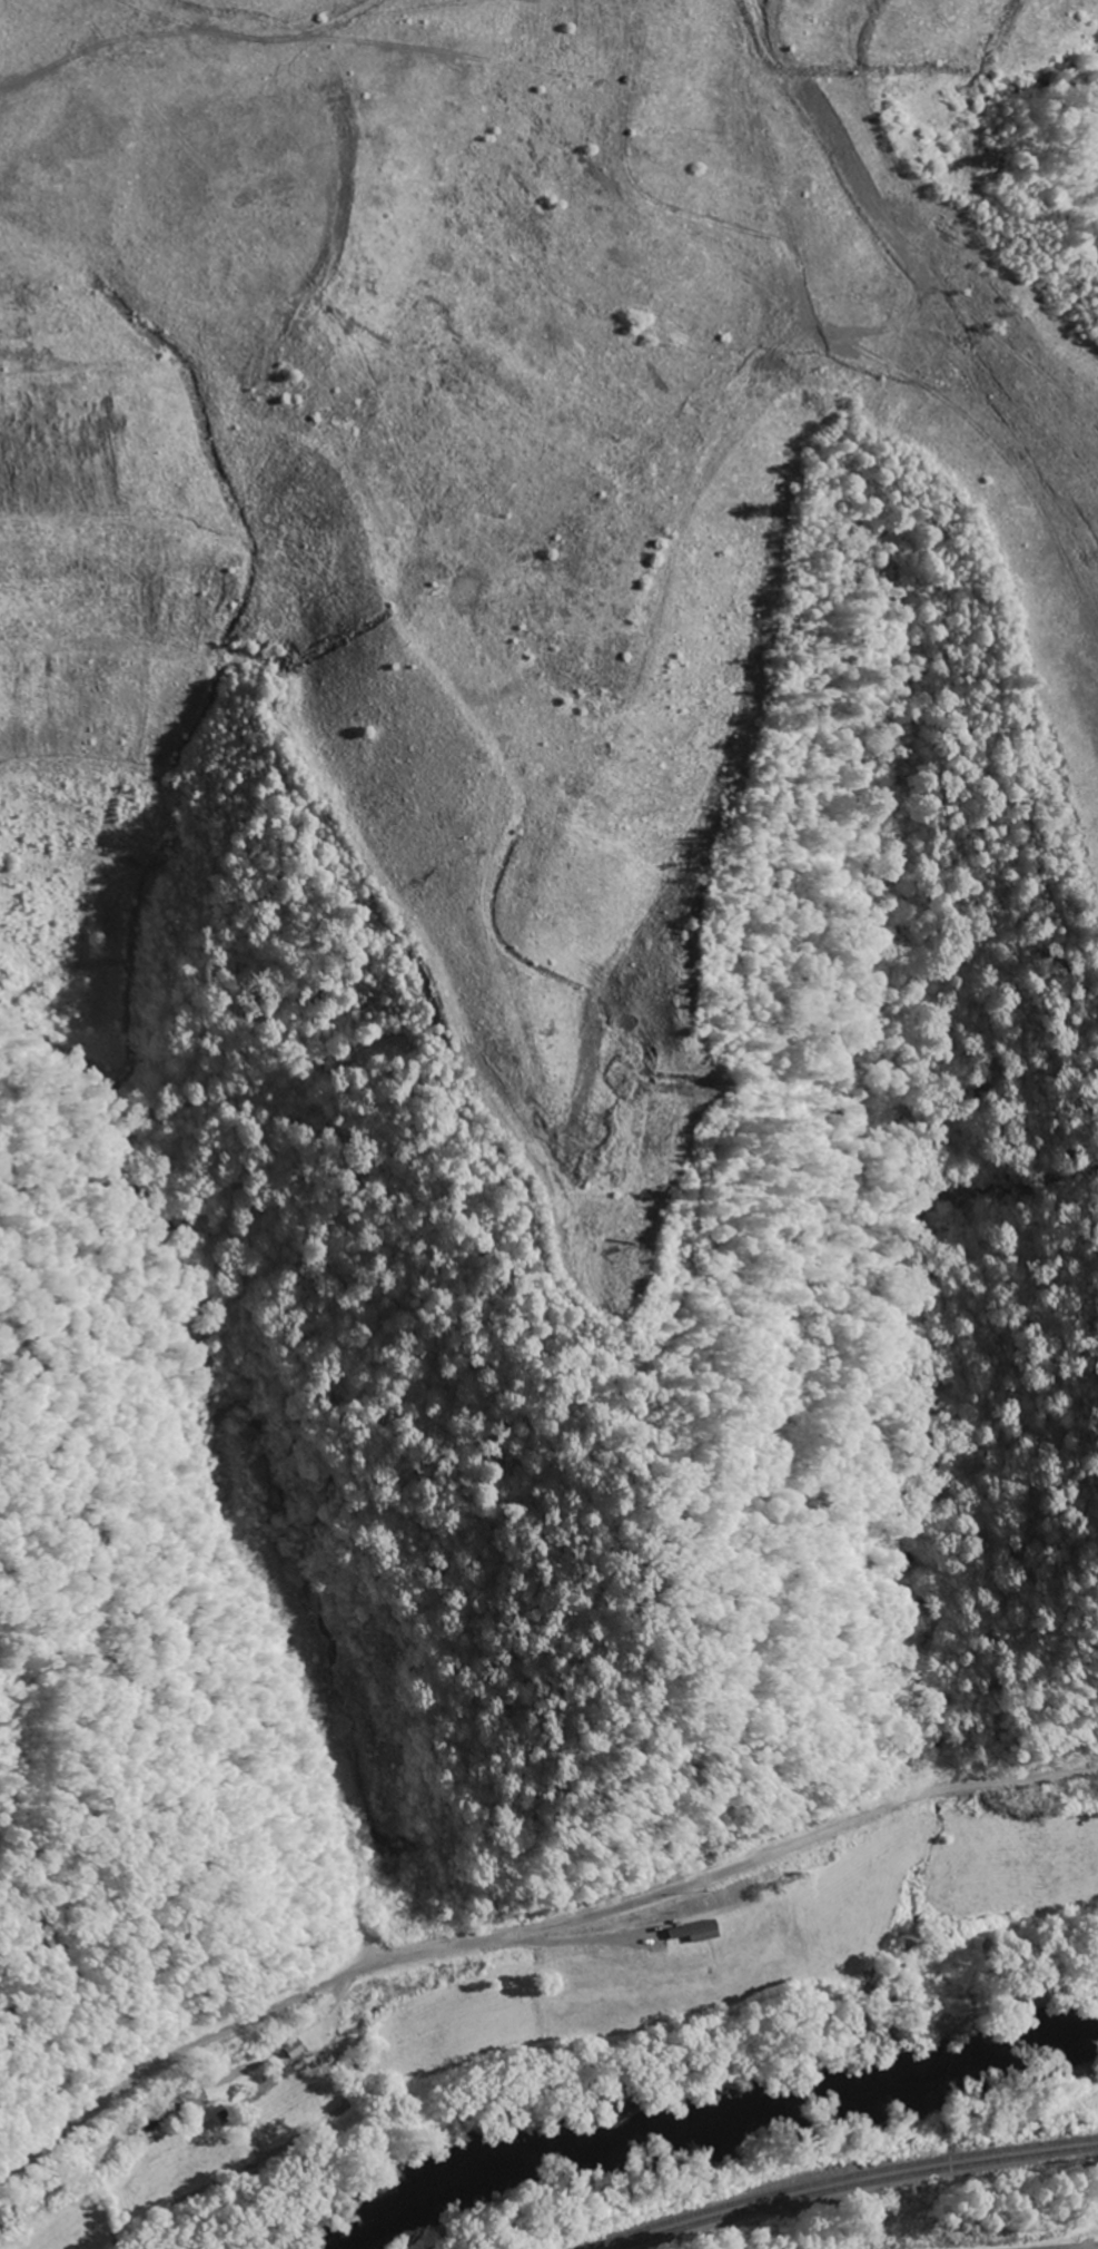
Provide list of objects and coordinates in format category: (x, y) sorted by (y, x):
road: (531, 1931)
river: (711, 2117)
railway: (840, 2180)
railway: (857, 2187)
road: (1092, 2248)

